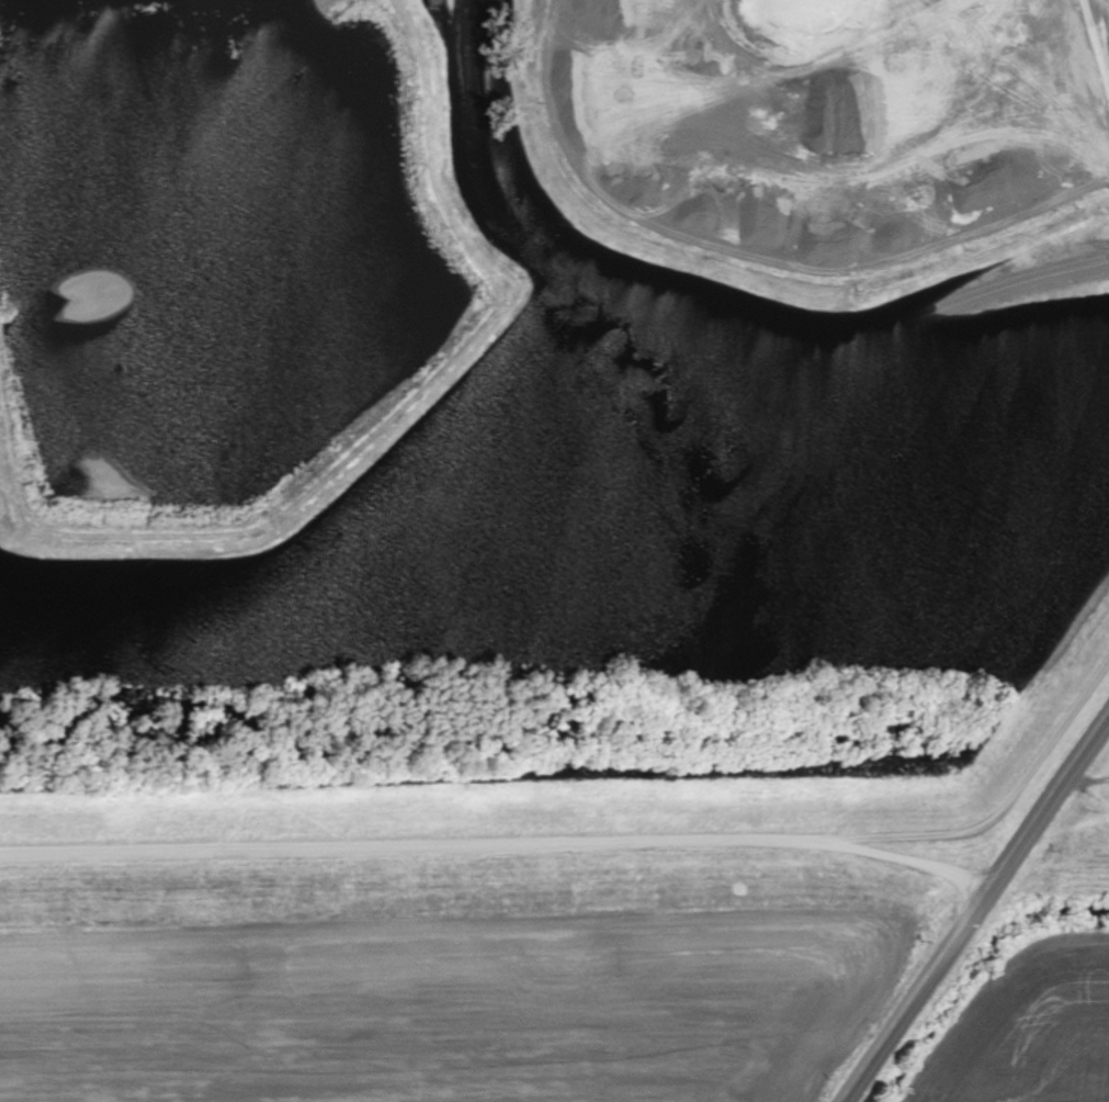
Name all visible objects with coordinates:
road: (694, 301)
road: (344, 526)
road: (1050, 742)
road: (921, 833)
road: (427, 848)
road: (921, 863)
road: (976, 908)

